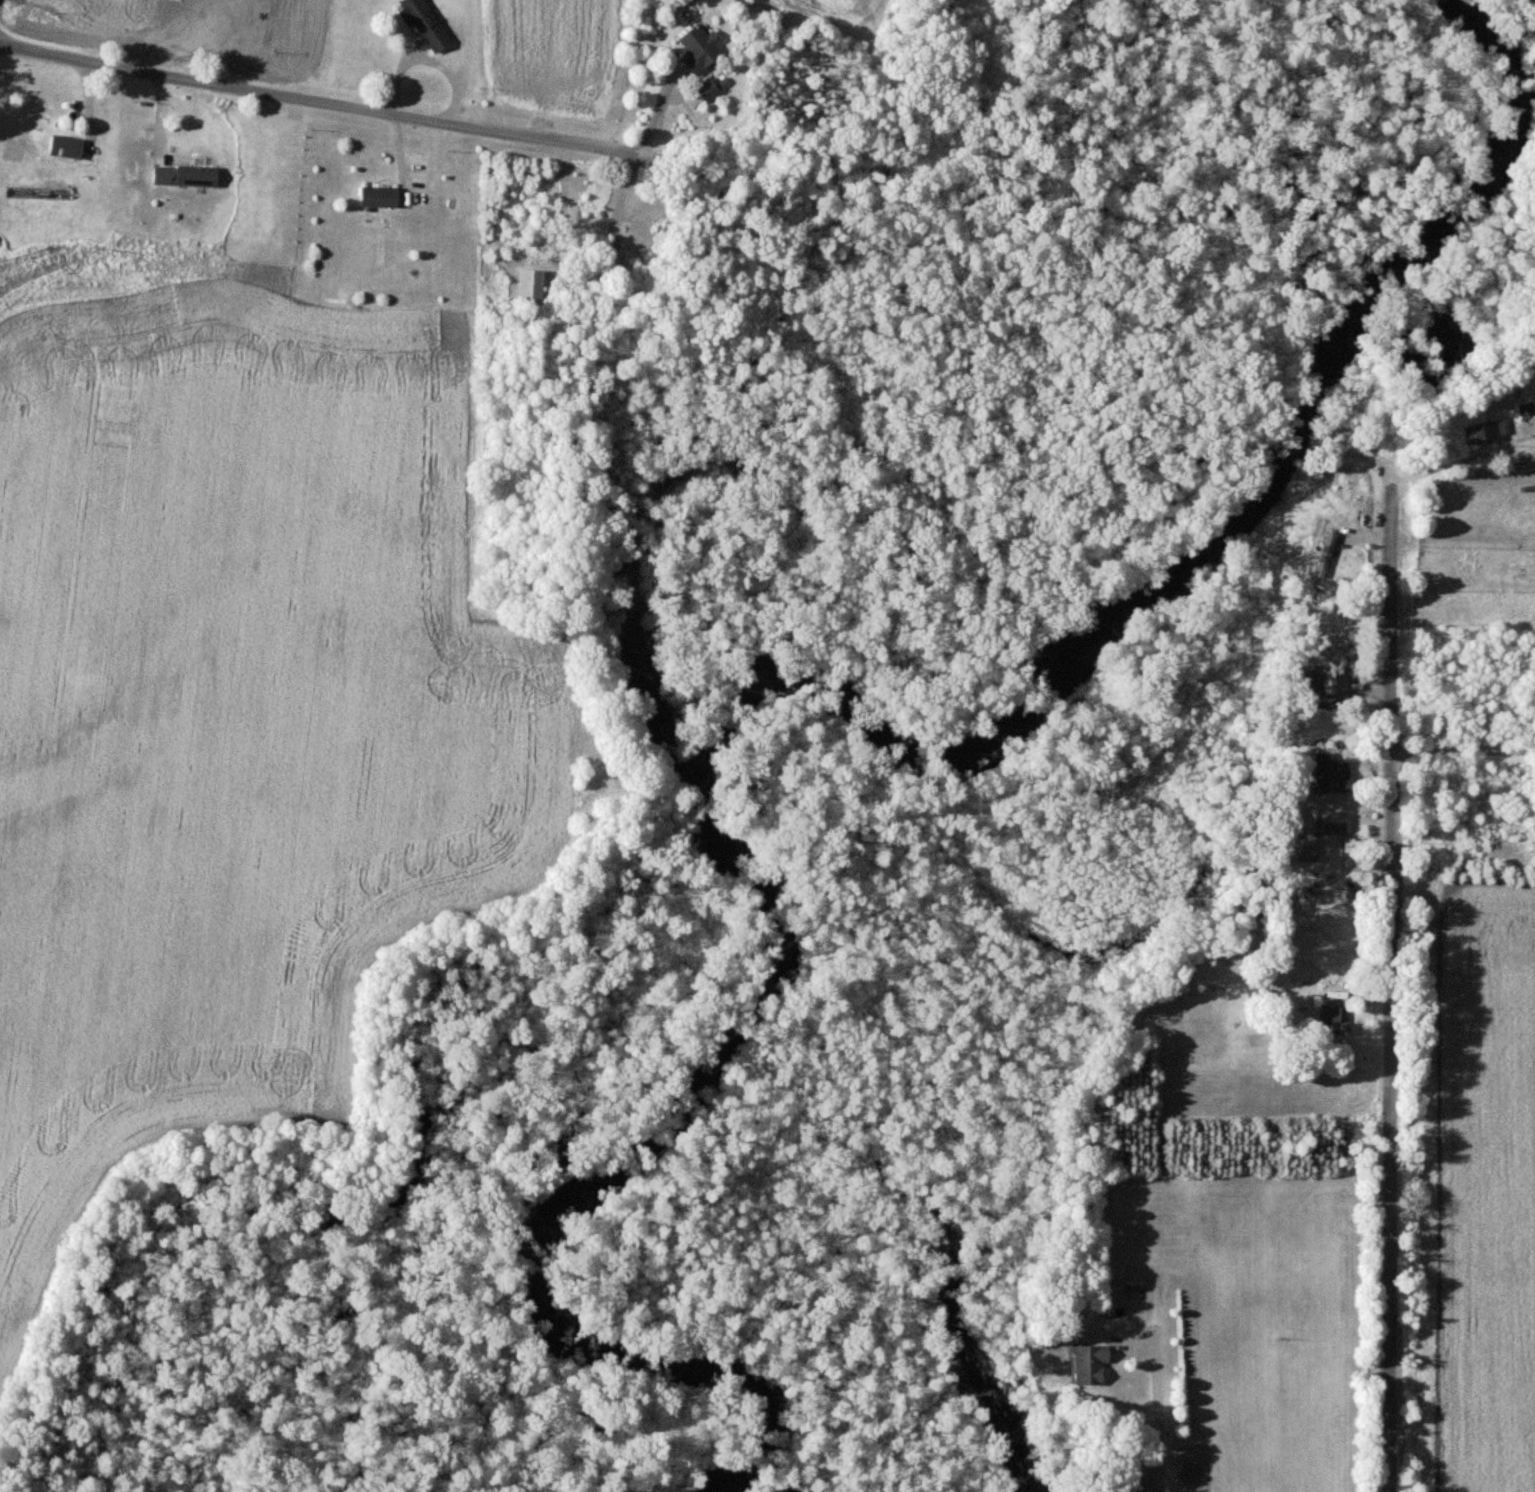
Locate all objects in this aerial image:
building: (424, 23)
building: (699, 48)
building: (708, 90)
road: (568, 143)
building: (65, 147)
building: (183, 176)
building: (378, 197)
building: (532, 286)
building: (1524, 410)
building: (1483, 432)
river: (1275, 449)
building: (1326, 674)
building: (1328, 774)
building: (1335, 826)
building: (1305, 850)
road: (1389, 966)
building: (1333, 1019)
river: (657, 1127)
building: (1086, 1363)
road: (1155, 1411)

